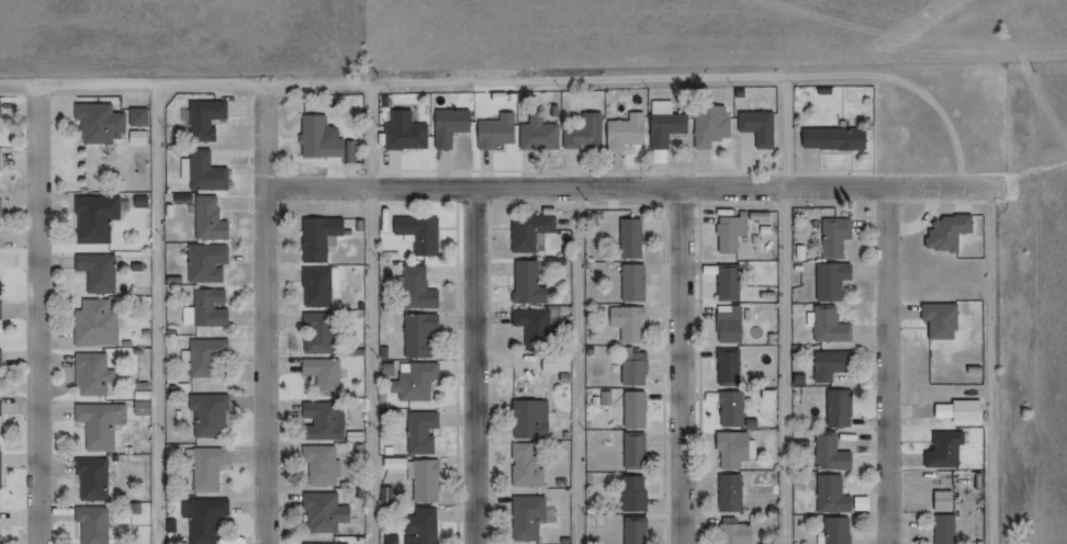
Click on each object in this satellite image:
road: (517, 83)
building: (136, 116)
building: (202, 118)
building: (97, 123)
building: (708, 125)
building: (447, 126)
building: (664, 127)
building: (756, 127)
building: (402, 132)
building: (494, 132)
building: (624, 132)
building: (583, 133)
building: (537, 134)
building: (317, 137)
building: (831, 138)
building: (203, 172)
road: (638, 186)
building: (92, 218)
building: (206, 219)
building: (527, 231)
building: (944, 231)
building: (417, 233)
building: (726, 235)
building: (316, 237)
building: (832, 237)
building: (628, 239)
building: (204, 264)
building: (96, 272)
building: (829, 282)
building: (525, 283)
building: (630, 283)
building: (726, 283)
building: (314, 287)
building: (415, 288)
building: (207, 307)
road: (785, 313)
road: (371, 314)
road: (263, 315)
road: (43, 316)
road: (161, 316)
building: (526, 318)
building: (939, 320)
building: (93, 324)
building: (626, 324)
building: (727, 325)
building: (828, 327)
building: (315, 332)
building: (417, 336)
building: (205, 358)
building: (553, 361)
road: (1000, 364)
road: (682, 365)
building: (828, 365)
road: (888, 365)
road: (474, 366)
road: (586, 366)
building: (726, 366)
building: (631, 369)
building: (90, 374)
building: (321, 374)
building: (412, 383)
building: (836, 408)
building: (631, 409)
building: (728, 409)
building: (207, 415)
building: (528, 419)
building: (321, 420)
building: (98, 423)
building: (419, 432)
building: (729, 450)
building: (942, 451)
building: (632, 452)
building: (828, 453)
building: (318, 464)
building: (525, 465)
building: (205, 468)
building: (90, 478)
building: (422, 480)
building: (727, 492)
building: (631, 494)
building: (830, 495)
building: (322, 512)
building: (202, 518)
building: (526, 518)
building: (91, 524)
building: (418, 526)
building: (943, 529)
building: (632, 531)
building: (833, 531)
building: (732, 533)
building: (0, 543)

